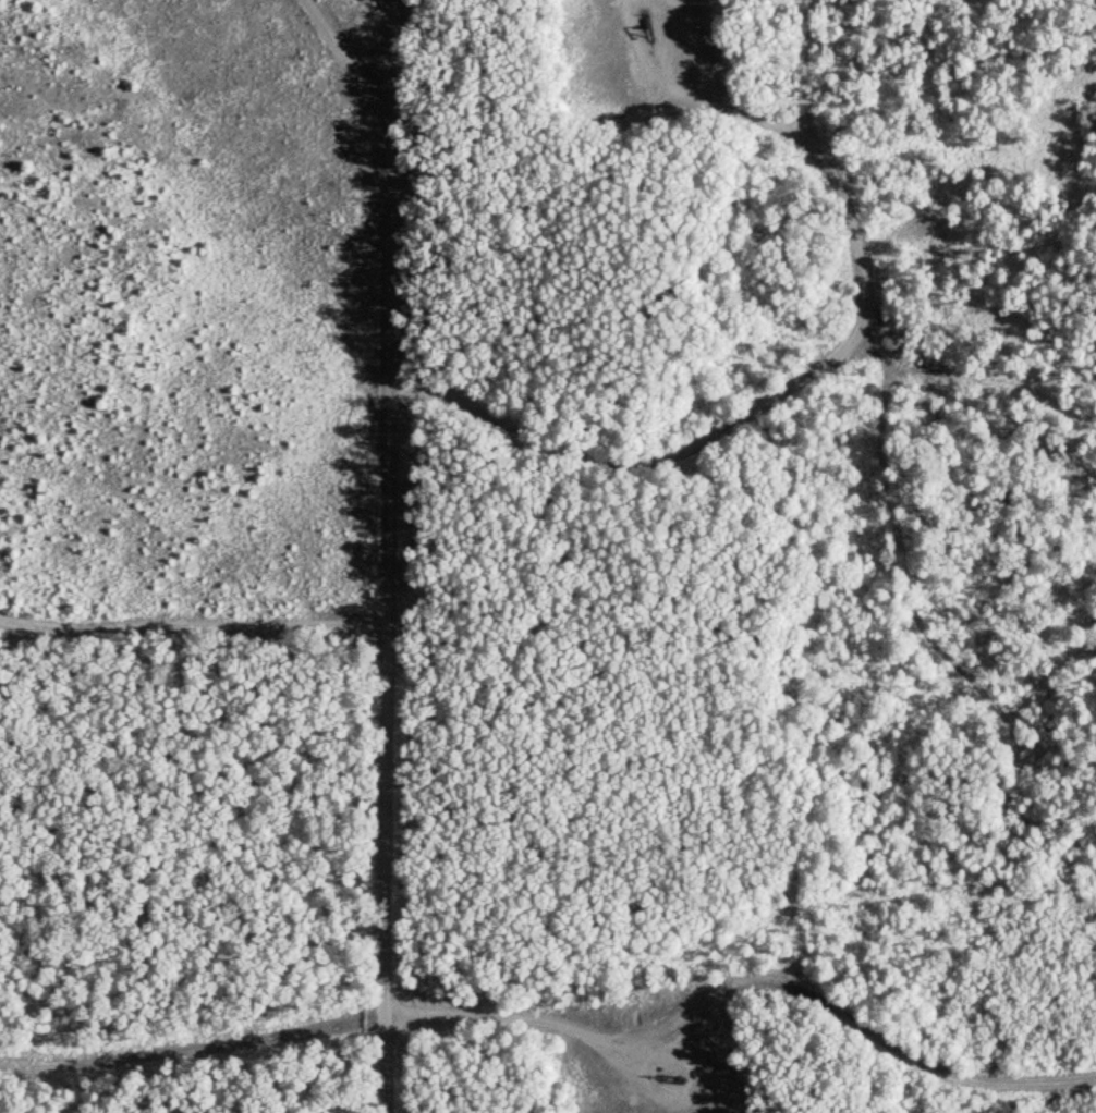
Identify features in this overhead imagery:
petroleum well: (641, 37)
road: (351, 52)
road: (777, 394)
road: (388, 555)
road: (193, 627)
road: (748, 978)
petroleum well: (663, 1083)

